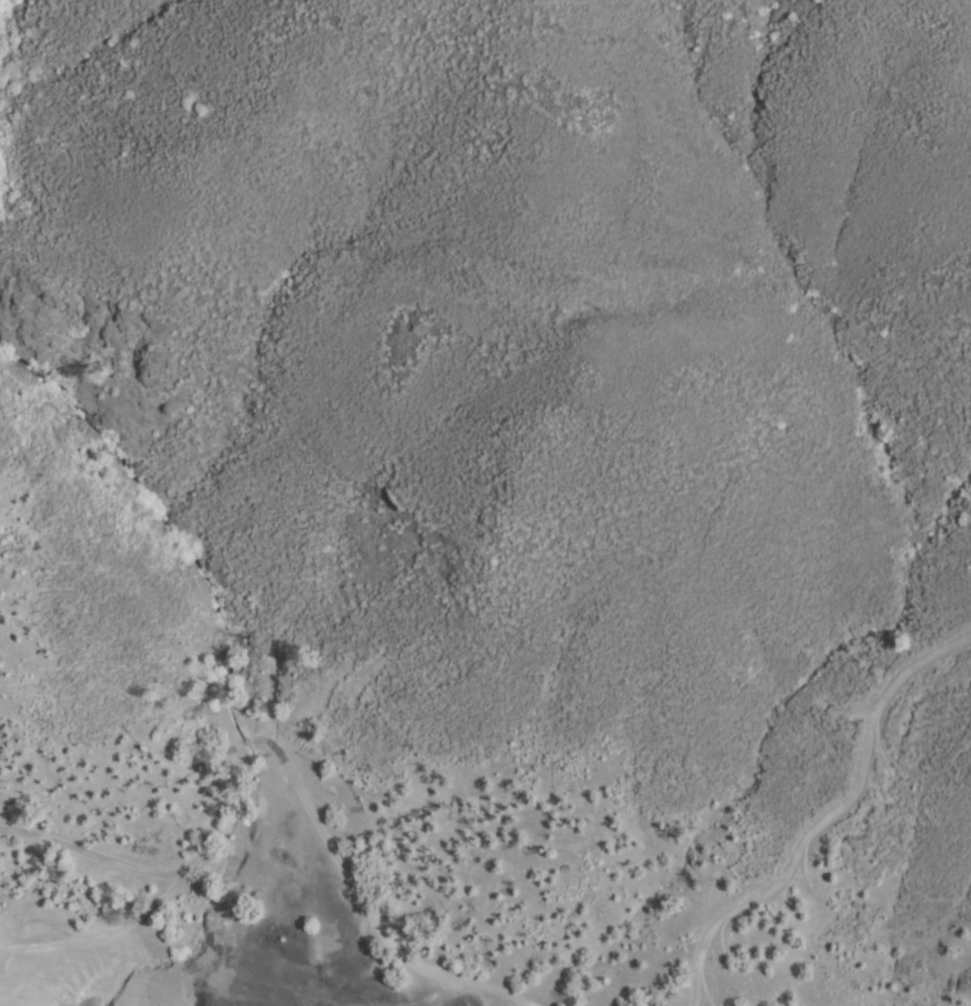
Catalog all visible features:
road: (286, 779)
road: (834, 820)

